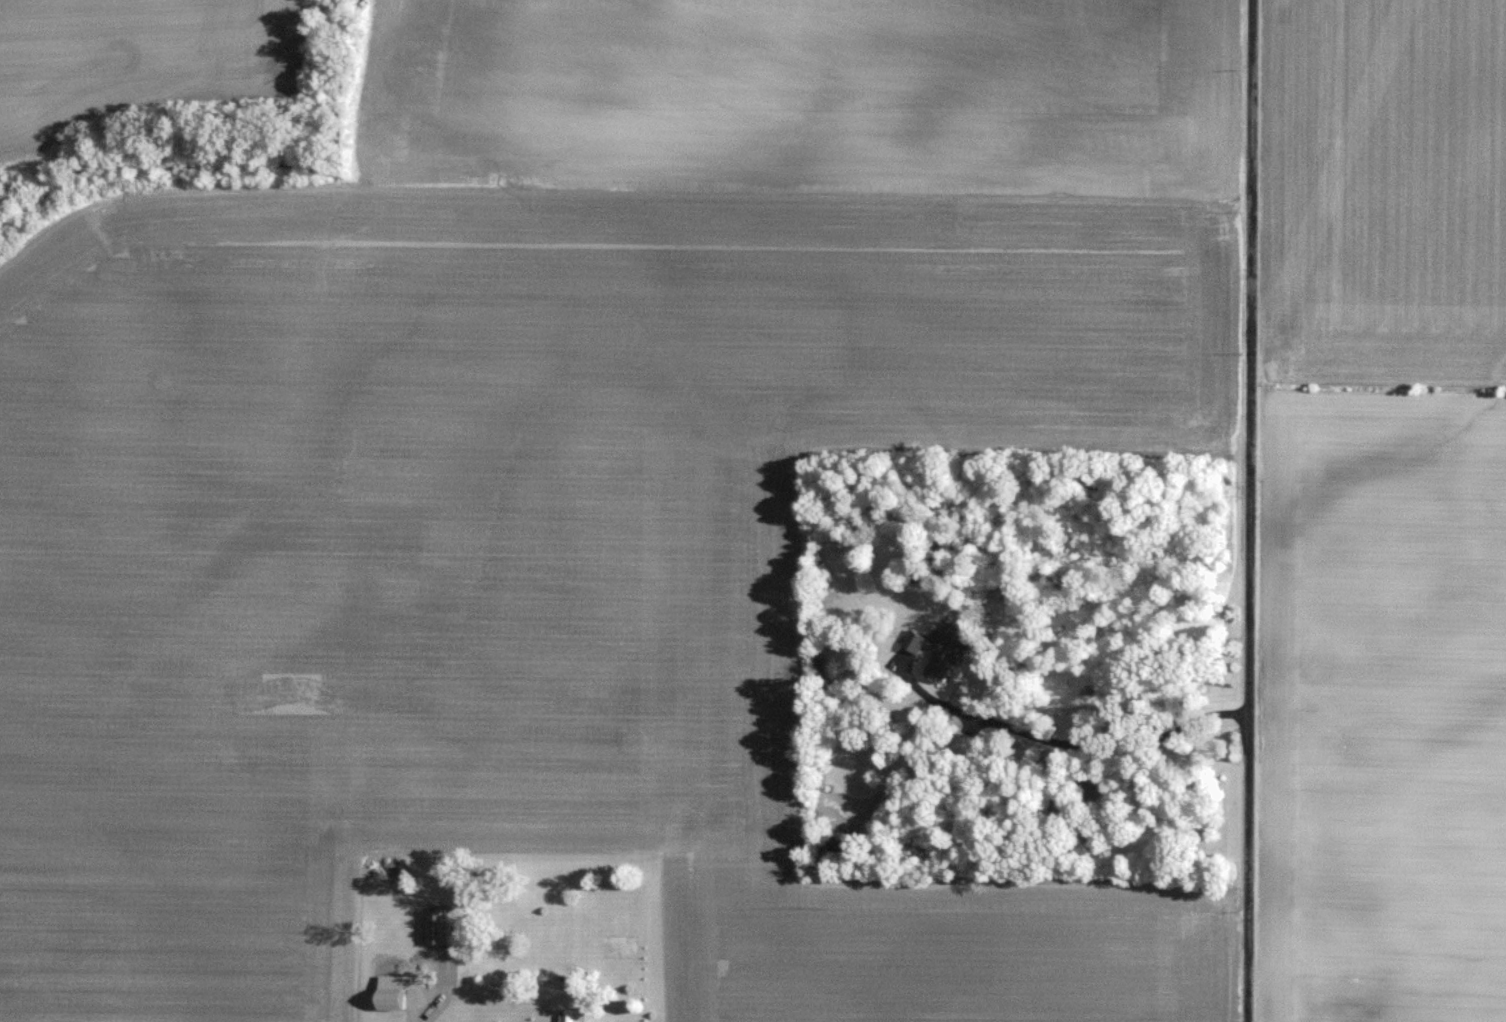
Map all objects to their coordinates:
road: (1250, 510)
road: (1096, 751)
building: (436, 927)
building: (396, 996)

